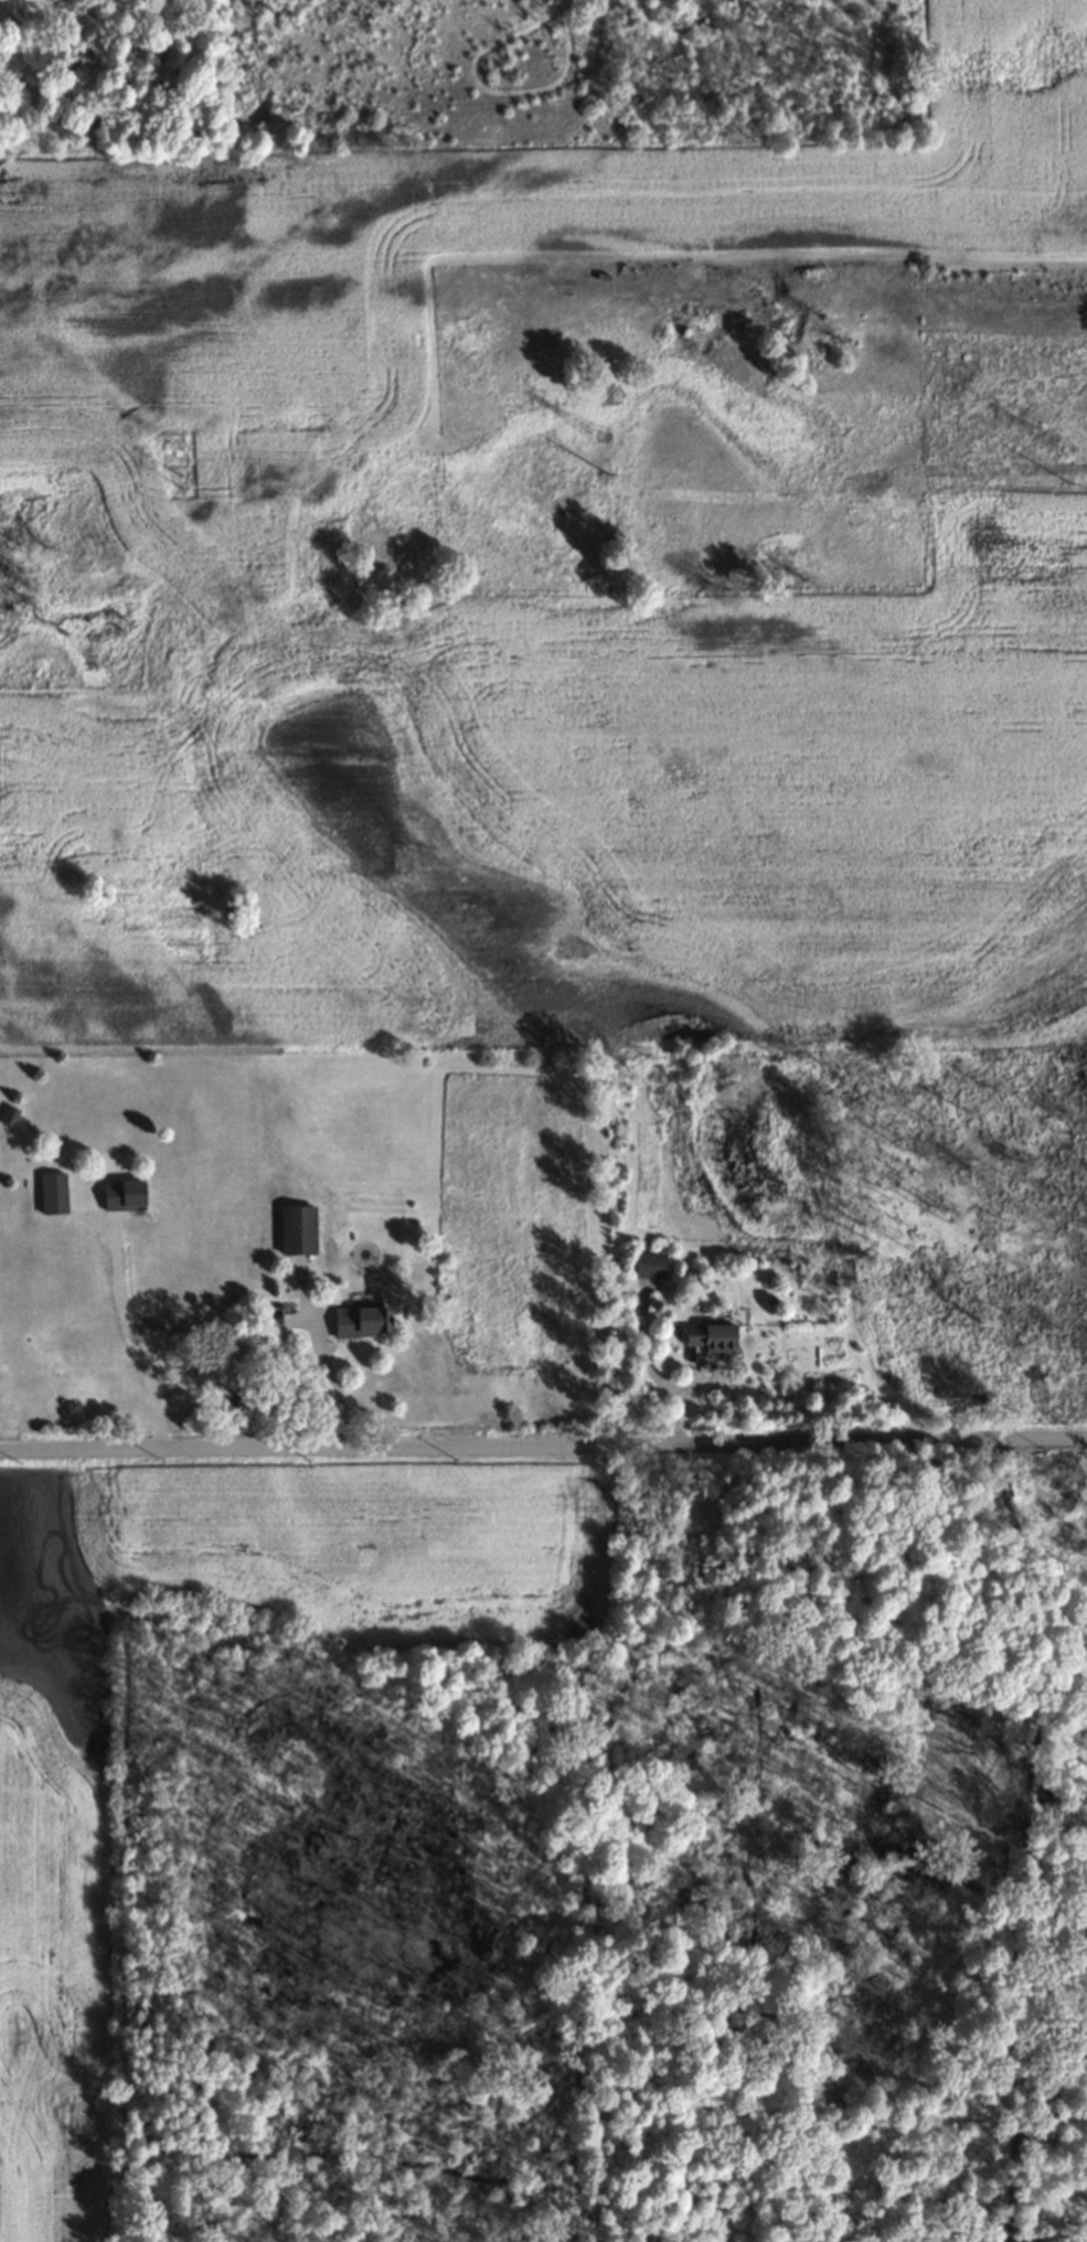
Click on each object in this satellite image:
building: (697, 24)
power tower: (601, 437)
power tower: (175, 446)
power tower: (1066, 450)
power tower: (179, 482)
building: (9, 1119)
building: (54, 1195)
building: (125, 1197)
building: (299, 1231)
building: (650, 1268)
building: (362, 1323)
road: (137, 1338)
building: (713, 1339)
road: (335, 1388)
road: (543, 1442)
road: (1025, 1833)

